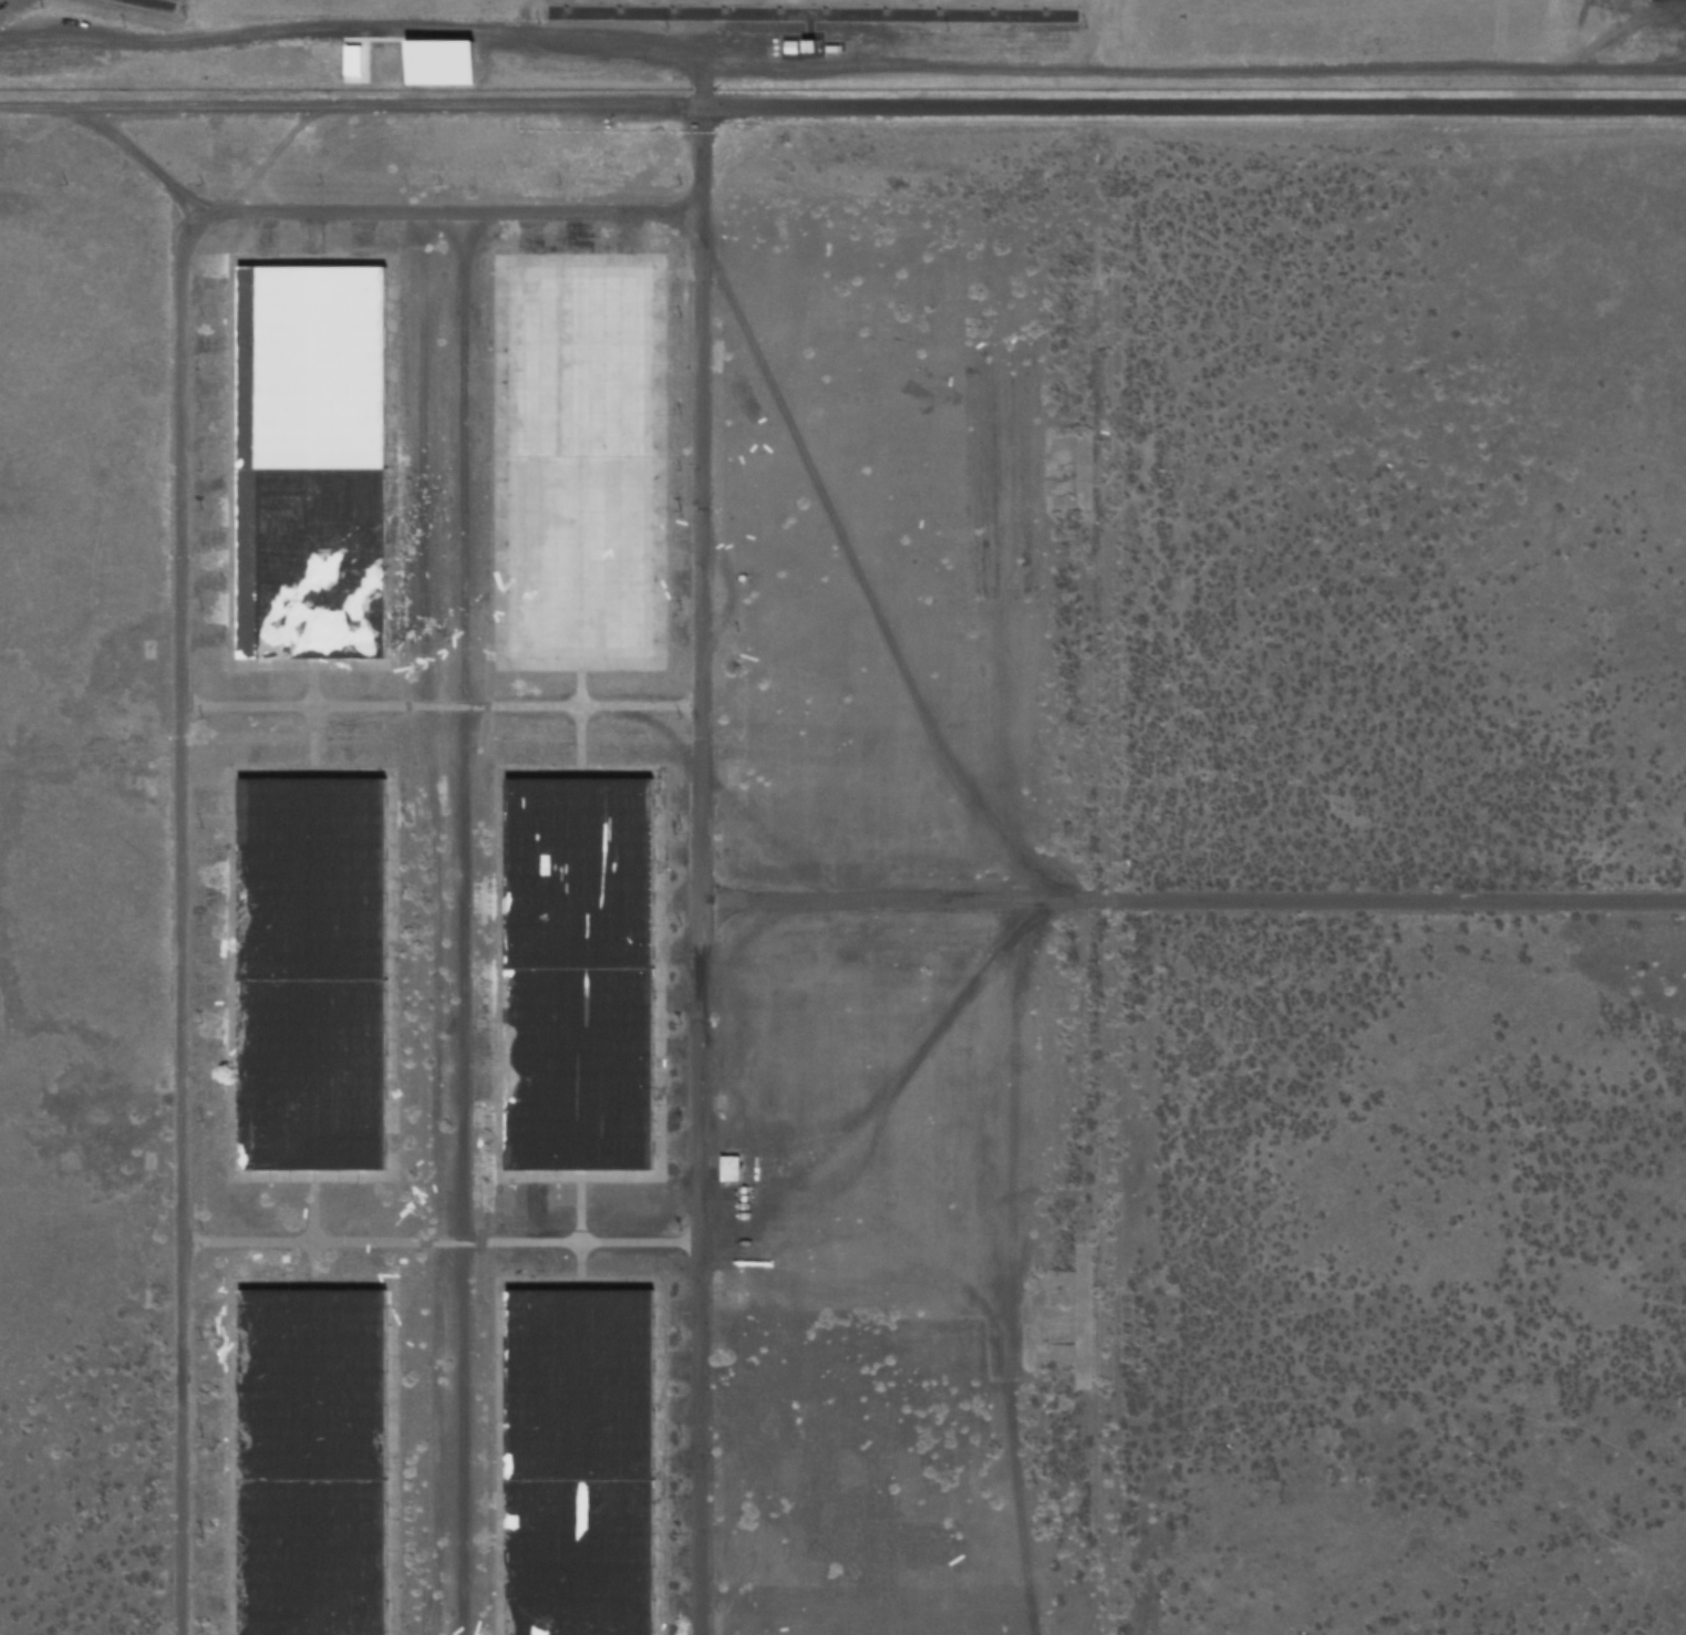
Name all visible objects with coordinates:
road: (842, 113)
building: (577, 457)
building: (310, 459)
road: (155, 866)
road: (730, 875)
road: (1208, 902)
railway: (476, 944)
railway: (427, 949)
railway: (1108, 965)
building: (307, 970)
building: (577, 971)
railway: (489, 1038)
railway: (400, 1046)
building: (728, 1169)
railway: (489, 1456)
building: (308, 1459)
railway: (399, 1459)
building: (579, 1459)

